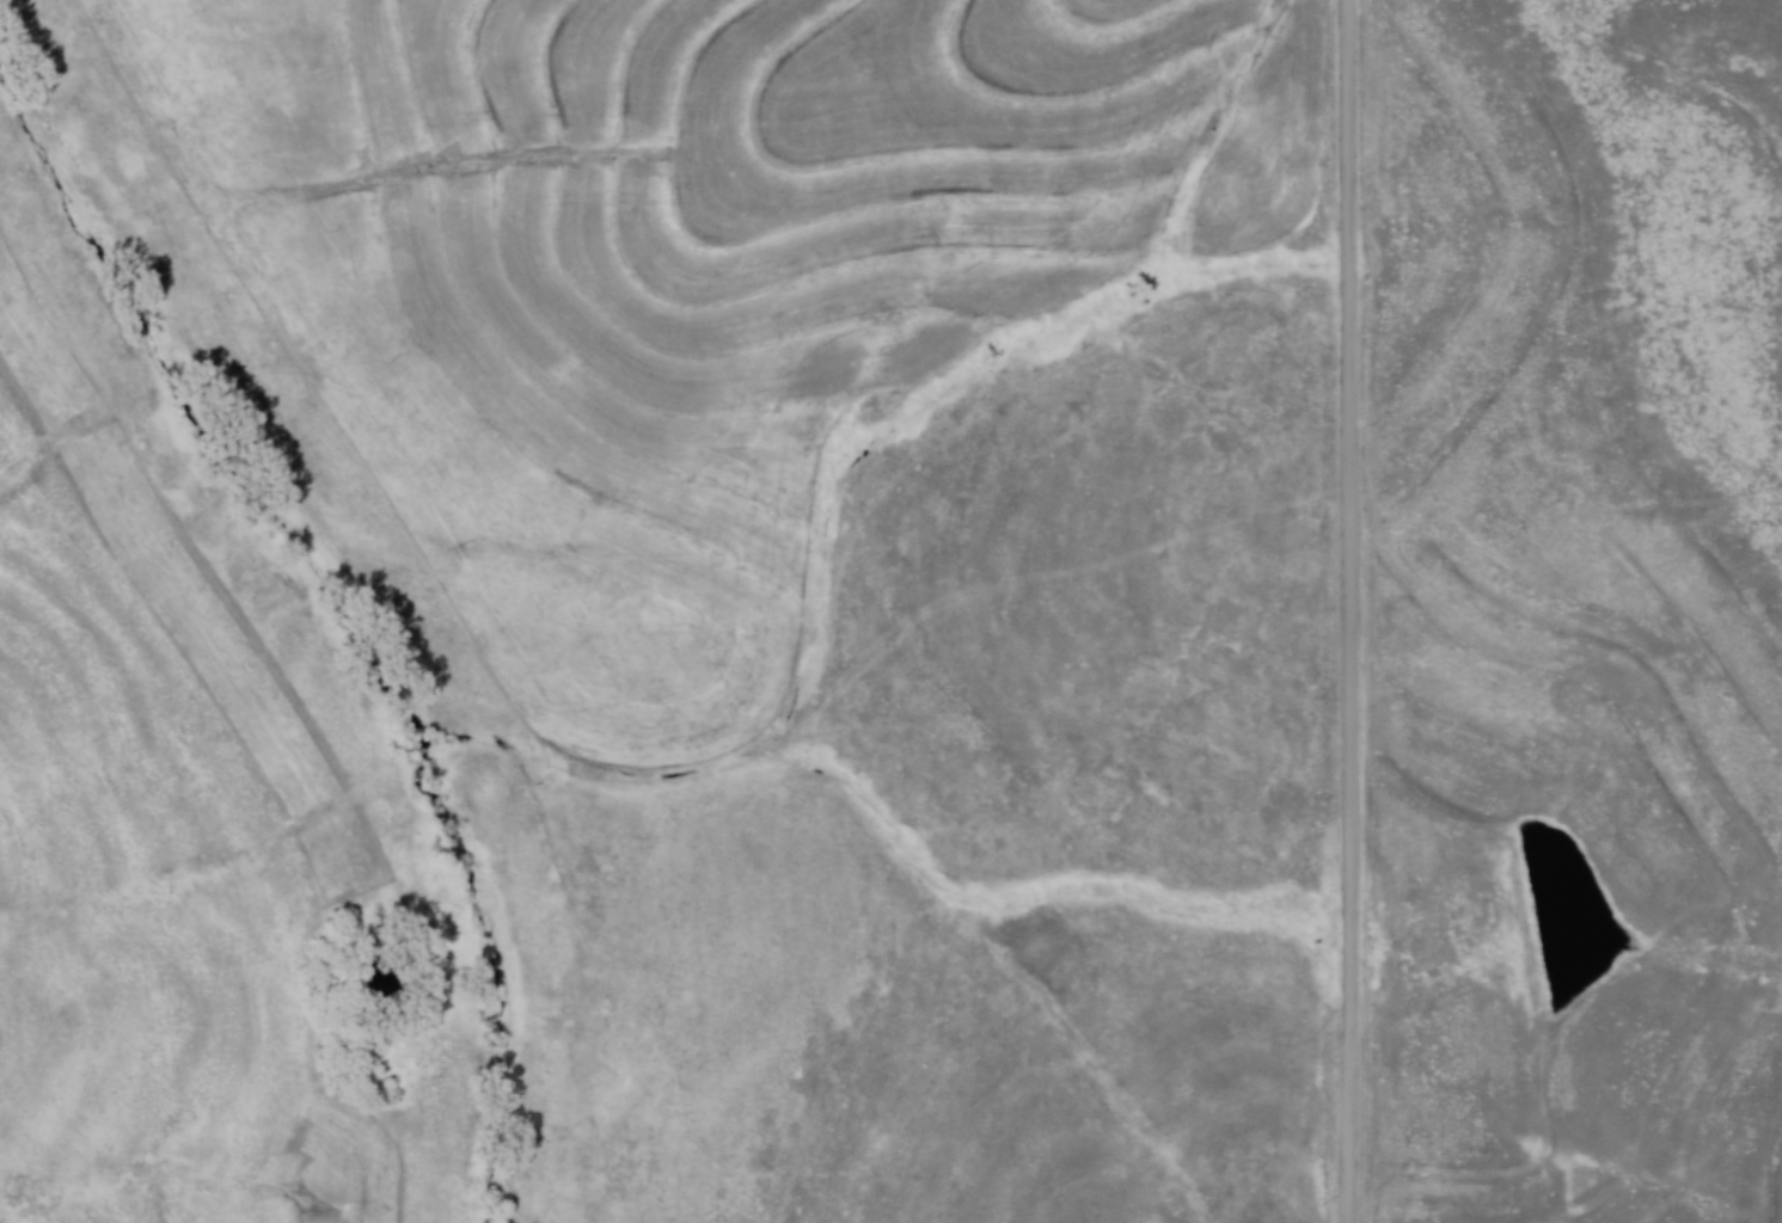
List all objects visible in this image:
road: (1349, 611)

